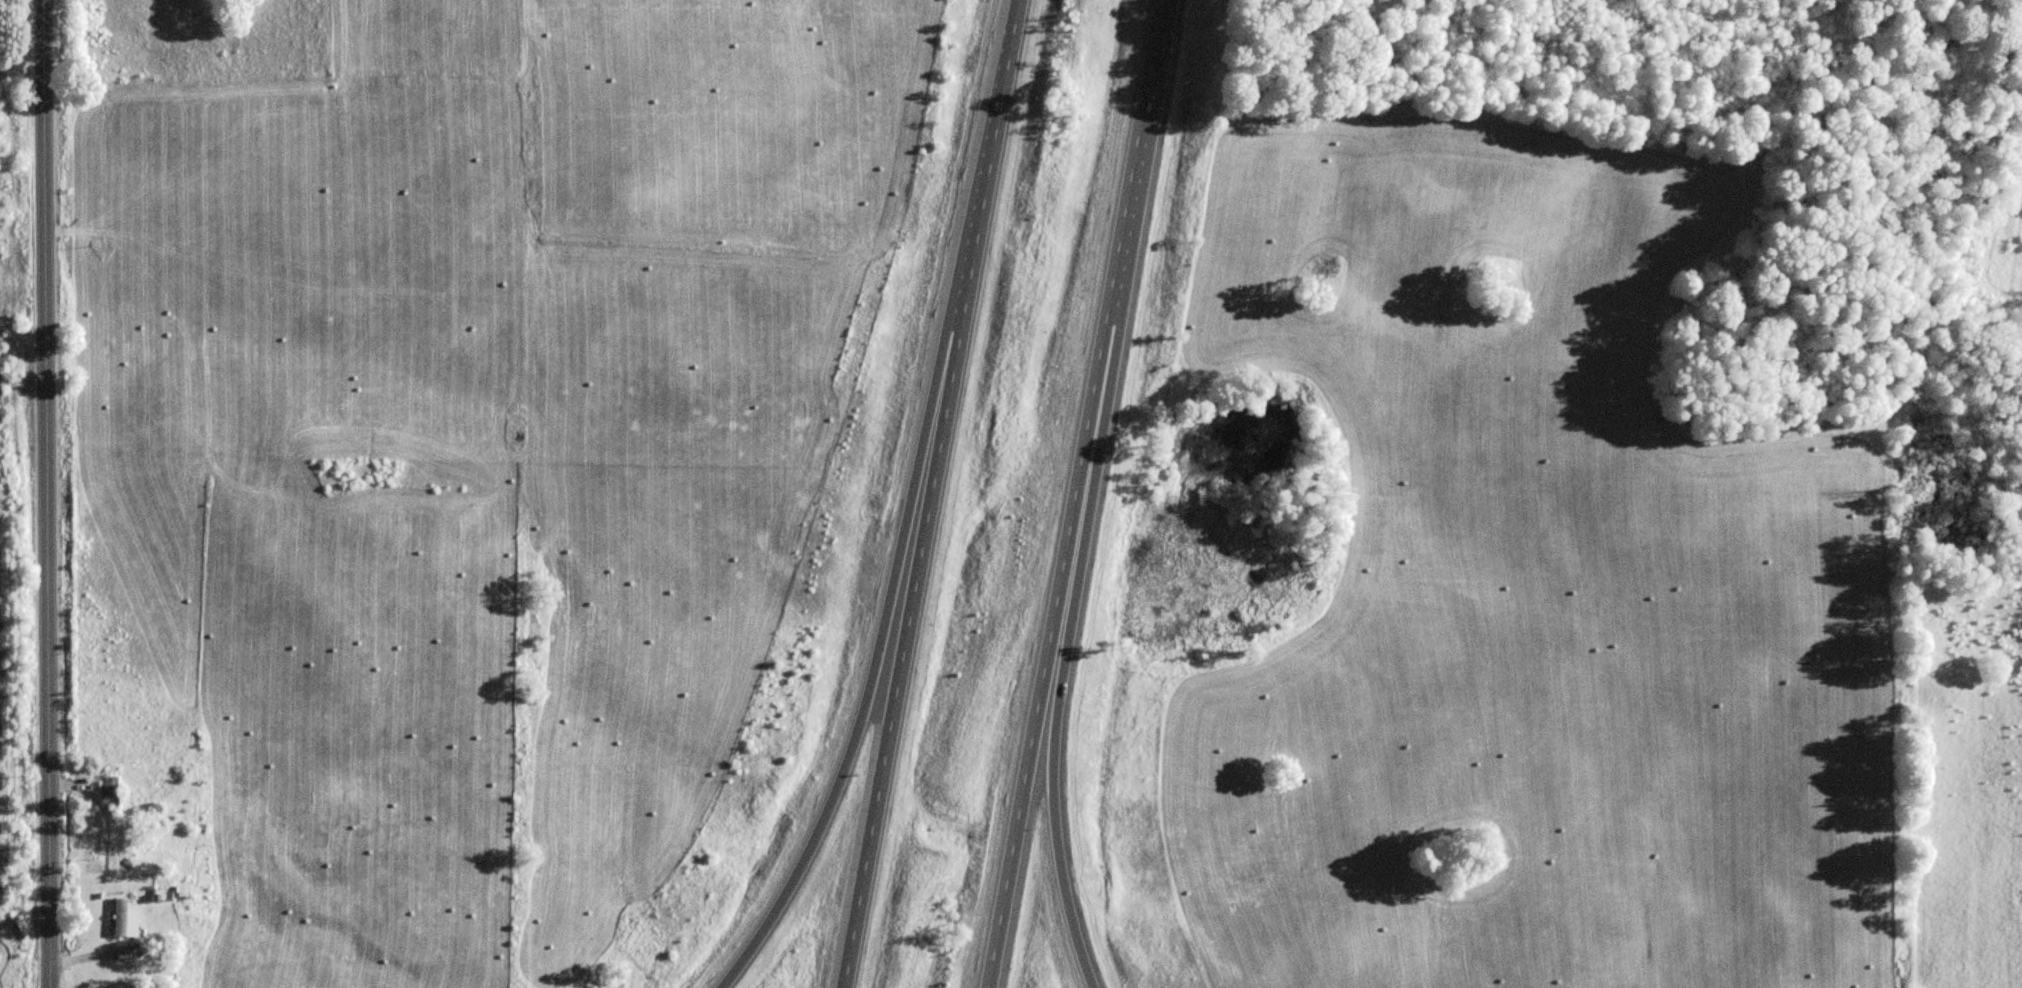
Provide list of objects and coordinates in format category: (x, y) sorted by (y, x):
road: (1076, 493)
road: (47, 494)
road: (932, 494)
road: (877, 645)
road: (1056, 715)
building: (110, 791)
building: (126, 917)

